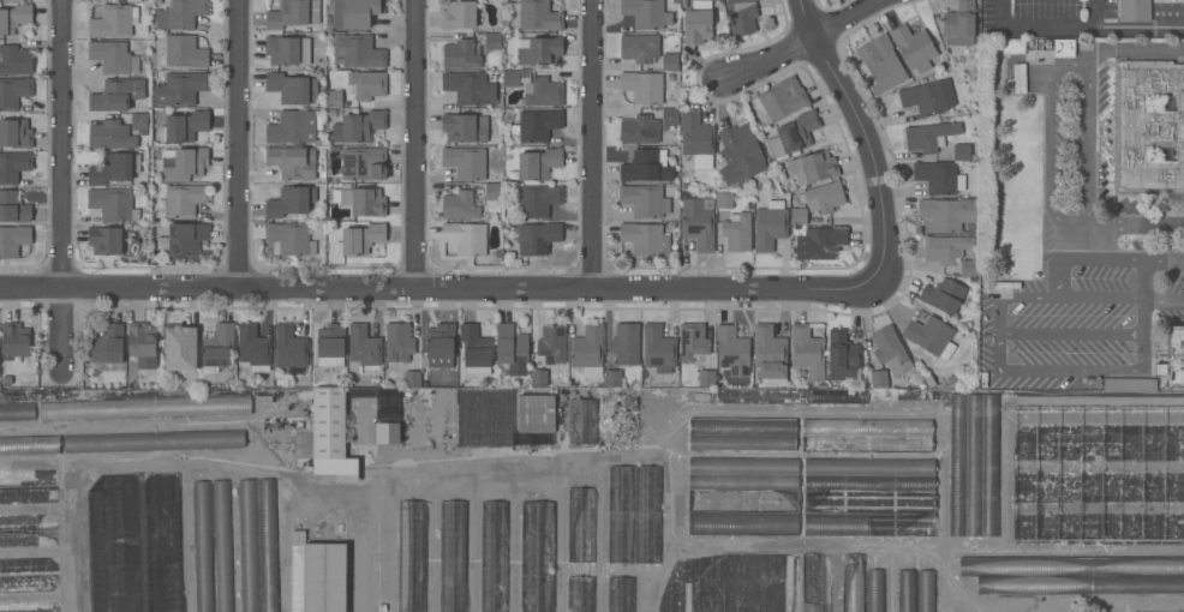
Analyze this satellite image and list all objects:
building: (1134, 10)
building: (355, 12)
building: (181, 13)
building: (293, 13)
building: (646, 13)
building: (459, 14)
building: (537, 14)
road: (1093, 14)
building: (741, 16)
building: (14, 17)
road: (803, 17)
building: (114, 20)
building: (698, 20)
building: (959, 24)
road: (1033, 28)
road: (1138, 30)
road: (800, 38)
building: (492, 40)
building: (1013, 44)
building: (639, 47)
building: (914, 47)
building: (1063, 47)
building: (287, 49)
road: (1136, 49)
building: (358, 50)
building: (542, 50)
building: (185, 52)
building: (462, 54)
building: (113, 56)
building: (16, 59)
building: (670, 61)
building: (884, 65)
building: (510, 77)
building: (1013, 78)
building: (367, 84)
building: (292, 86)
building: (468, 86)
building: (642, 86)
building: (180, 88)
building: (13, 91)
building: (543, 91)
building: (116, 94)
building: (928, 96)
building: (334, 98)
building: (781, 98)
building: (670, 115)
building: (139, 122)
building: (537, 125)
building: (184, 126)
building: (294, 126)
building: (359, 126)
building: (1147, 126)
building: (465, 127)
building: (639, 130)
building: (16, 133)
building: (794, 133)
building: (112, 134)
building: (929, 136)
building: (696, 139)
road: (1048, 142)
road: (1088, 142)
road: (240, 143)
road: (417, 144)
road: (593, 144)
road: (867, 149)
building: (961, 151)
building: (741, 155)
building: (292, 162)
building: (465, 162)
building: (184, 163)
building: (364, 163)
building: (538, 163)
building: (13, 166)
building: (647, 166)
building: (813, 166)
building: (114, 167)
building: (939, 176)
road: (64, 188)
building: (492, 191)
building: (824, 197)
building: (185, 199)
building: (538, 199)
building: (724, 199)
building: (291, 200)
building: (361, 200)
building: (644, 200)
building: (113, 204)
building: (459, 205)
building: (13, 206)
building: (947, 211)
building: (799, 215)
building: (698, 223)
building: (770, 224)
road: (1135, 226)
building: (737, 230)
building: (185, 238)
building: (361, 238)
building: (466, 238)
building: (538, 238)
building: (645, 238)
building: (289, 239)
building: (13, 240)
building: (104, 240)
building: (821, 241)
building: (945, 247)
road: (1113, 262)
building: (969, 265)
road: (436, 288)
building: (943, 295)
road: (1100, 295)
road: (1018, 299)
road: (1165, 300)
road: (1146, 317)
road: (1072, 335)
building: (931, 336)
building: (441, 342)
building: (552, 342)
building: (693, 342)
building: (626, 343)
building: (16, 344)
building: (108, 344)
building: (142, 344)
building: (330, 344)
building: (364, 346)
building: (399, 346)
building: (180, 347)
building: (217, 347)
building: (253, 347)
building: (289, 347)
building: (512, 347)
building: (658, 348)
building: (476, 349)
building: (732, 349)
building: (806, 350)
building: (890, 350)
building: (587, 352)
building: (770, 353)
building: (842, 355)
building: (1173, 358)
road: (1072, 368)
building: (504, 372)
building: (539, 377)
building: (612, 377)
building: (412, 378)
building: (706, 378)
building: (879, 378)
building: (1129, 384)
building: (388, 404)
building: (144, 407)
building: (17, 410)
building: (536, 413)
building: (582, 420)
building: (742, 426)
building: (867, 426)
building: (387, 432)
building: (327, 434)
building: (153, 440)
building: (742, 442)
building: (866, 443)
building: (30, 444)
building: (989, 463)
building: (743, 464)
building: (957, 464)
building: (974, 464)
building: (868, 466)
building: (743, 481)
building: (869, 481)
building: (742, 499)
building: (869, 500)
building: (634, 514)
building: (742, 522)
building: (869, 523)
building: (268, 544)
building: (249, 545)
building: (203, 546)
building: (222, 546)
building: (580, 550)
road: (363, 551)
building: (411, 556)
building: (452, 556)
building: (494, 556)
building: (537, 557)
building: (1071, 565)
building: (317, 575)
building: (812, 582)
building: (854, 582)
building: (1080, 583)
building: (874, 590)
building: (907, 590)
building: (926, 590)
building: (620, 594)
building: (1162, 611)

